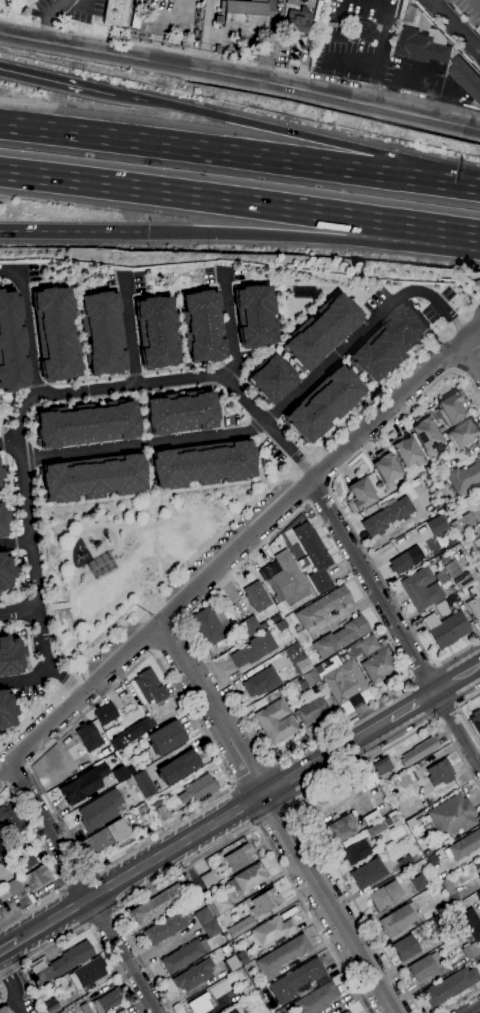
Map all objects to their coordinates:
road: (426, 0)
building: (4, 1)
building: (8, 1)
building: (26, 2)
road: (475, 4)
building: (116, 12)
building: (406, 12)
building: (138, 16)
building: (243, 17)
road: (51, 19)
building: (298, 22)
road: (452, 28)
building: (361, 31)
road: (206, 34)
building: (334, 35)
building: (183, 43)
road: (380, 43)
building: (422, 46)
road: (151, 47)
road: (303, 72)
road: (240, 77)
building: (465, 78)
road: (57, 83)
road: (265, 128)
road: (204, 150)
road: (444, 182)
road: (192, 195)
road: (432, 227)
road: (74, 232)
traffic signals: (148, 233)
road: (268, 235)
building: (304, 291)
building: (254, 316)
road: (29, 323)
building: (202, 326)
road: (231, 326)
road: (131, 330)
building: (155, 332)
building: (320, 332)
road: (474, 332)
building: (54, 334)
building: (101, 334)
building: (386, 343)
building: (10, 346)
road: (474, 350)
road: (393, 375)
building: (271, 379)
road: (53, 396)
road: (131, 396)
building: (322, 403)
building: (451, 408)
building: (180, 413)
road: (276, 414)
building: (86, 424)
road: (255, 429)
building: (425, 434)
building: (465, 434)
road: (11, 443)
building: (406, 451)
road: (259, 456)
road: (32, 457)
road: (303, 460)
building: (202, 463)
building: (385, 468)
building: (0, 474)
building: (464, 476)
building: (92, 477)
road: (211, 485)
building: (360, 495)
road: (94, 500)
street lamp: (206, 504)
road: (338, 504)
building: (387, 516)
building: (2, 522)
building: (462, 524)
road: (156, 538)
building: (477, 543)
road: (17, 544)
road: (74, 544)
road: (39, 548)
road: (238, 551)
park: (124, 556)
building: (314, 556)
road: (106, 558)
building: (405, 560)
street lamp: (162, 564)
building: (476, 566)
road: (147, 567)
road: (182, 567)
building: (451, 569)
building: (5, 571)
road: (47, 577)
building: (441, 577)
building: (284, 579)
street lamp: (70, 581)
building: (421, 589)
building: (469, 594)
building: (256, 597)
road: (62, 606)
building: (322, 607)
building: (441, 608)
road: (21, 612)
road: (187, 612)
building: (275, 619)
road: (396, 623)
building: (252, 625)
building: (280, 625)
building: (209, 627)
building: (446, 628)
building: (341, 637)
building: (253, 649)
building: (10, 657)
building: (298, 659)
building: (373, 659)
road: (404, 662)
building: (318, 669)
road: (425, 672)
road: (29, 679)
road: (458, 679)
road: (69, 681)
building: (344, 682)
building: (261, 683)
road: (72, 685)
building: (149, 687)
building: (311, 699)
road: (467, 699)
road: (413, 706)
building: (6, 711)
road: (447, 712)
building: (105, 713)
road: (32, 717)
building: (476, 721)
building: (275, 722)
road: (469, 726)
building: (132, 733)
building: (88, 736)
building: (165, 738)
building: (419, 751)
building: (382, 766)
building: (178, 767)
road: (222, 767)
road: (4, 769)
road: (250, 770)
building: (439, 773)
building: (120, 774)
building: (407, 779)
building: (366, 780)
building: (129, 782)
building: (83, 784)
building: (143, 784)
building: (198, 788)
building: (331, 799)
road: (297, 801)
building: (100, 810)
building: (160, 810)
road: (275, 814)
building: (12, 816)
road: (278, 816)
building: (451, 816)
building: (371, 818)
building: (411, 822)
building: (376, 828)
building: (340, 829)
road: (204, 831)
building: (107, 836)
building: (2, 842)
road: (227, 844)
building: (463, 846)
building: (355, 851)
building: (2, 854)
building: (239, 857)
building: (27, 860)
building: (405, 862)
road: (54, 864)
building: (477, 867)
building: (368, 873)
road: (78, 876)
building: (208, 879)
building: (25, 882)
building: (419, 882)
road: (85, 887)
building: (238, 887)
building: (450, 889)
building: (384, 896)
building: (478, 896)
building: (264, 902)
building: (158, 904)
building: (0, 918)
road: (102, 920)
building: (397, 921)
building: (207, 922)
building: (471, 923)
building: (166, 927)
building: (241, 927)
road: (88, 928)
building: (272, 931)
building: (466, 933)
building: (469, 938)
road: (9, 946)
building: (405, 947)
building: (470, 950)
building: (184, 955)
building: (281, 956)
building: (242, 957)
building: (477, 960)
building: (65, 962)
building: (231, 963)
building: (424, 966)
building: (88, 972)
building: (193, 975)
building: (297, 980)
road: (14, 986)
building: (451, 986)
building: (243, 989)
building: (317, 999)
road: (459, 1000)
building: (107, 1001)
building: (202, 1004)
building: (51, 1006)
building: (84, 1008)
road: (474, 1009)
building: (4, 1010)
building: (61, 1011)
building: (234, 1011)
building: (121, 1012)
building: (346, 1012)

